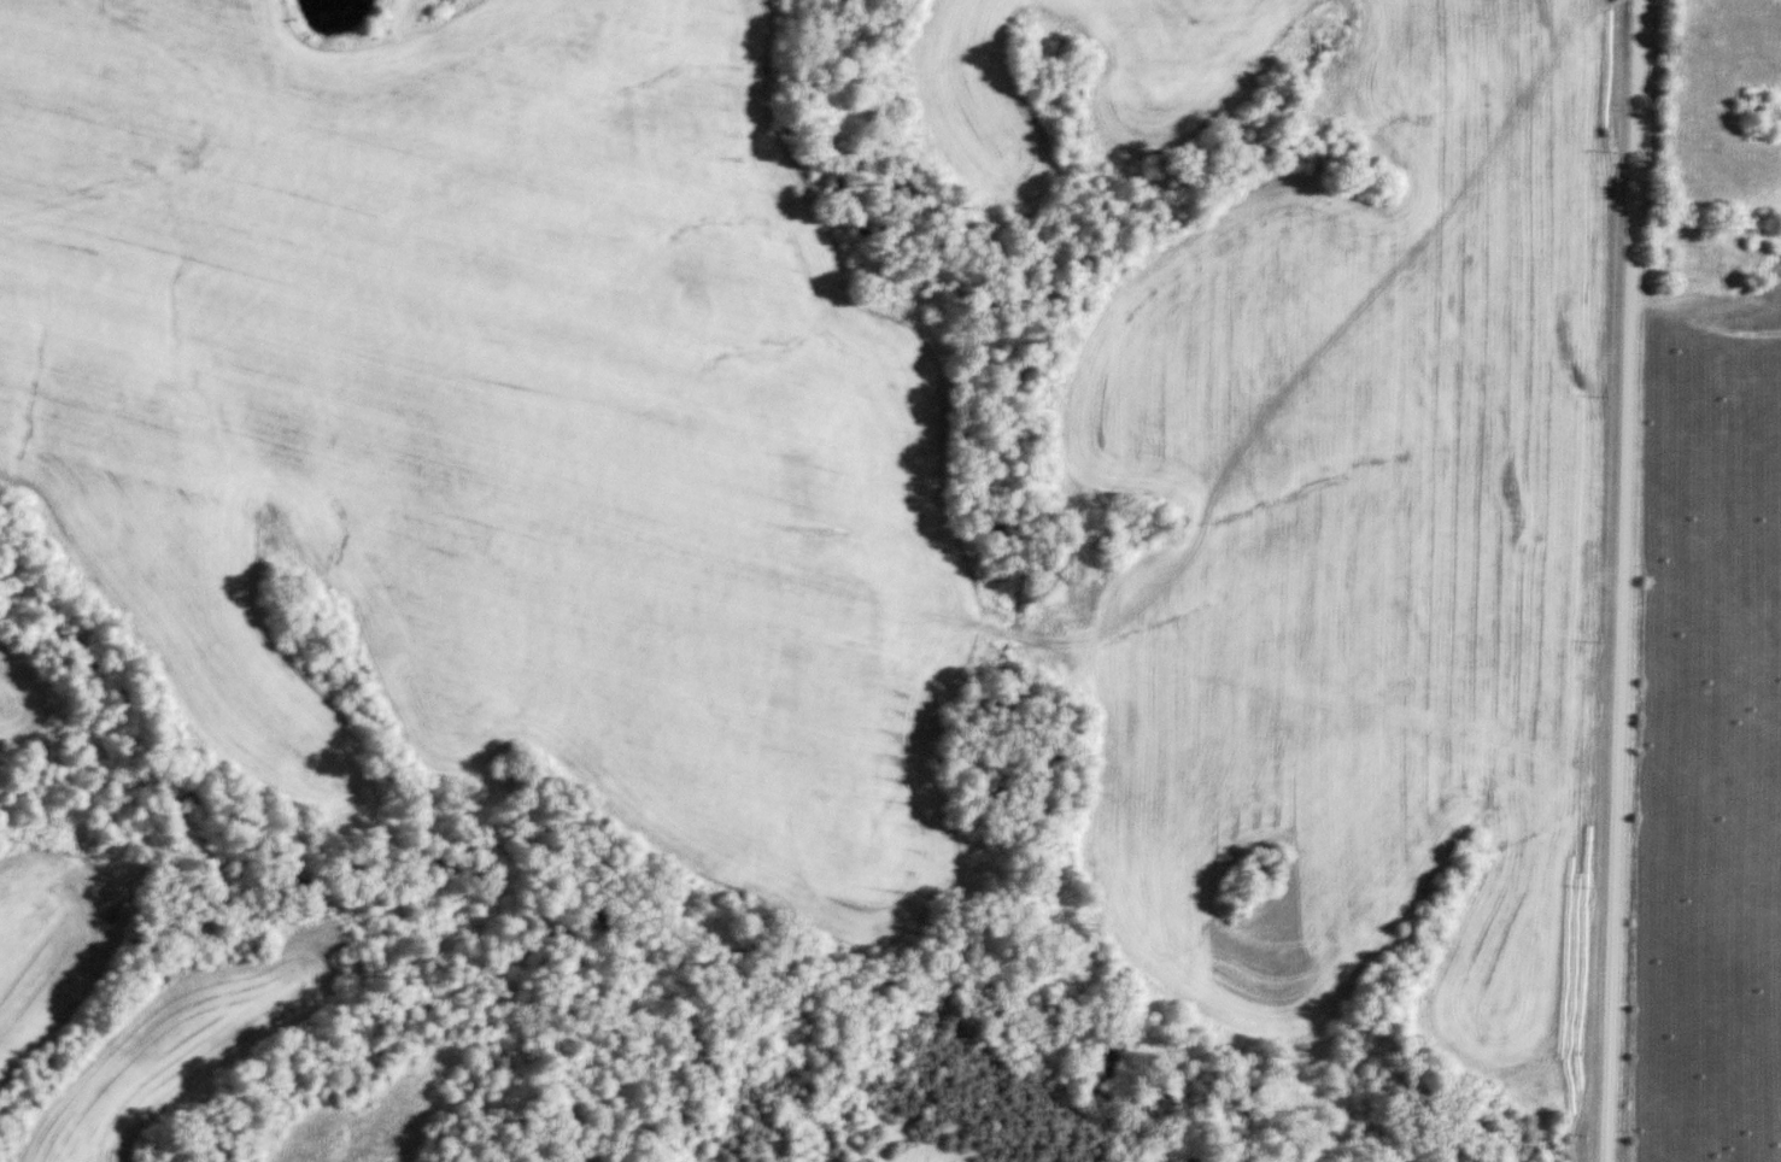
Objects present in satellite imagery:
building: (1711, 264)
road: (1622, 580)

